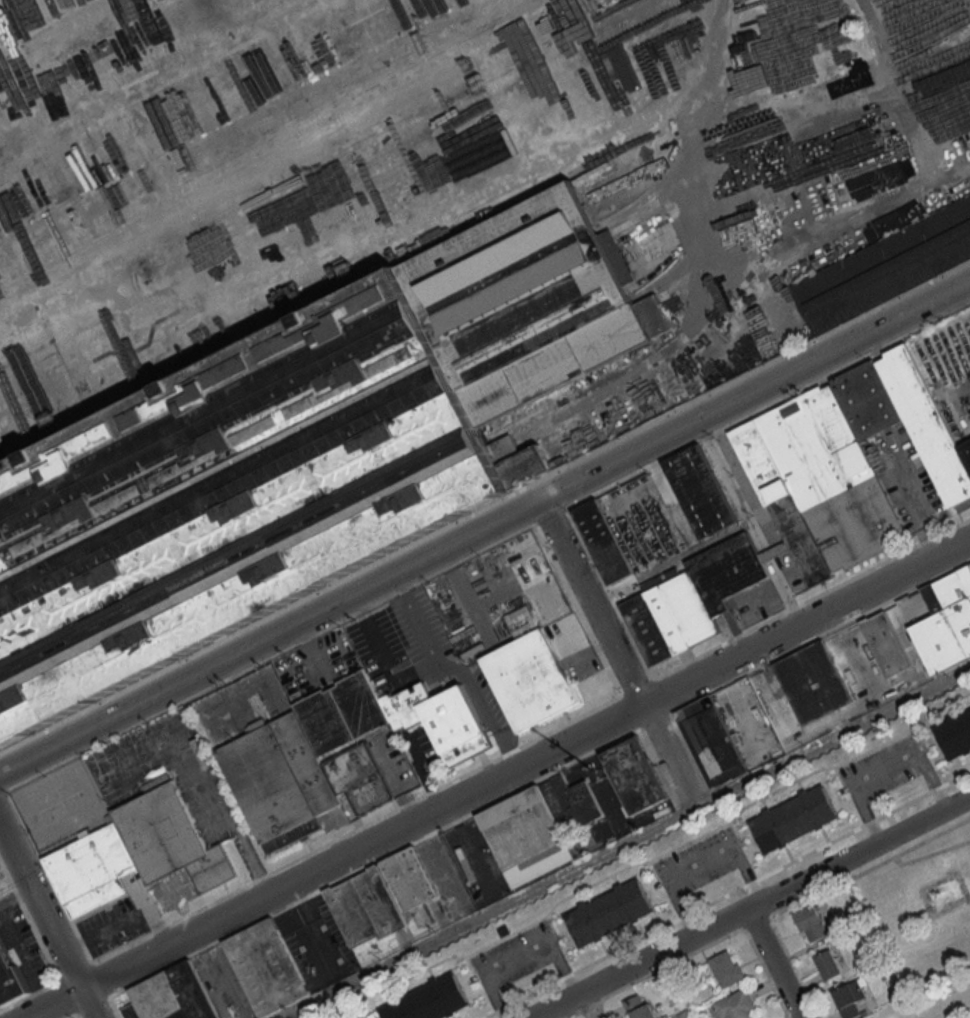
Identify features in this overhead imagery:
road: (161, 76)
road: (620, 120)
road: (290, 147)
road: (704, 147)
road: (146, 149)
road: (355, 233)
building: (615, 255)
building: (886, 264)
building: (524, 302)
building: (652, 315)
building: (201, 387)
road: (754, 391)
building: (214, 420)
building: (503, 445)
building: (216, 456)
building: (225, 489)
building: (698, 490)
building: (807, 496)
building: (234, 527)
road: (723, 536)
building: (602, 541)
building: (240, 558)
building: (265, 584)
road: (777, 590)
road: (591, 603)
road: (806, 620)
building: (945, 621)
road: (269, 637)
building: (886, 644)
road: (384, 657)
road: (456, 669)
building: (529, 679)
building: (812, 682)
building: (954, 733)
building: (710, 741)
building: (337, 752)
road: (669, 756)
road: (884, 768)
building: (632, 775)
building: (569, 803)
building: (793, 818)
road: (627, 843)
road: (362, 848)
building: (135, 852)
road: (702, 868)
road: (14, 893)
building: (378, 897)
road: (751, 907)
road: (41, 909)
building: (608, 912)
road: (124, 917)
park: (926, 921)
building: (810, 923)
road: (38, 940)
road: (521, 957)
road: (774, 964)
building: (827, 964)
building: (727, 967)
building: (267, 968)
road: (216, 976)
building: (10, 978)
building: (172, 997)
building: (848, 998)
building: (428, 1000)
road: (57, 1005)
road: (89, 1005)
road: (588, 1005)
building: (737, 1005)
building: (638, 1007)
road: (555, 1013)

